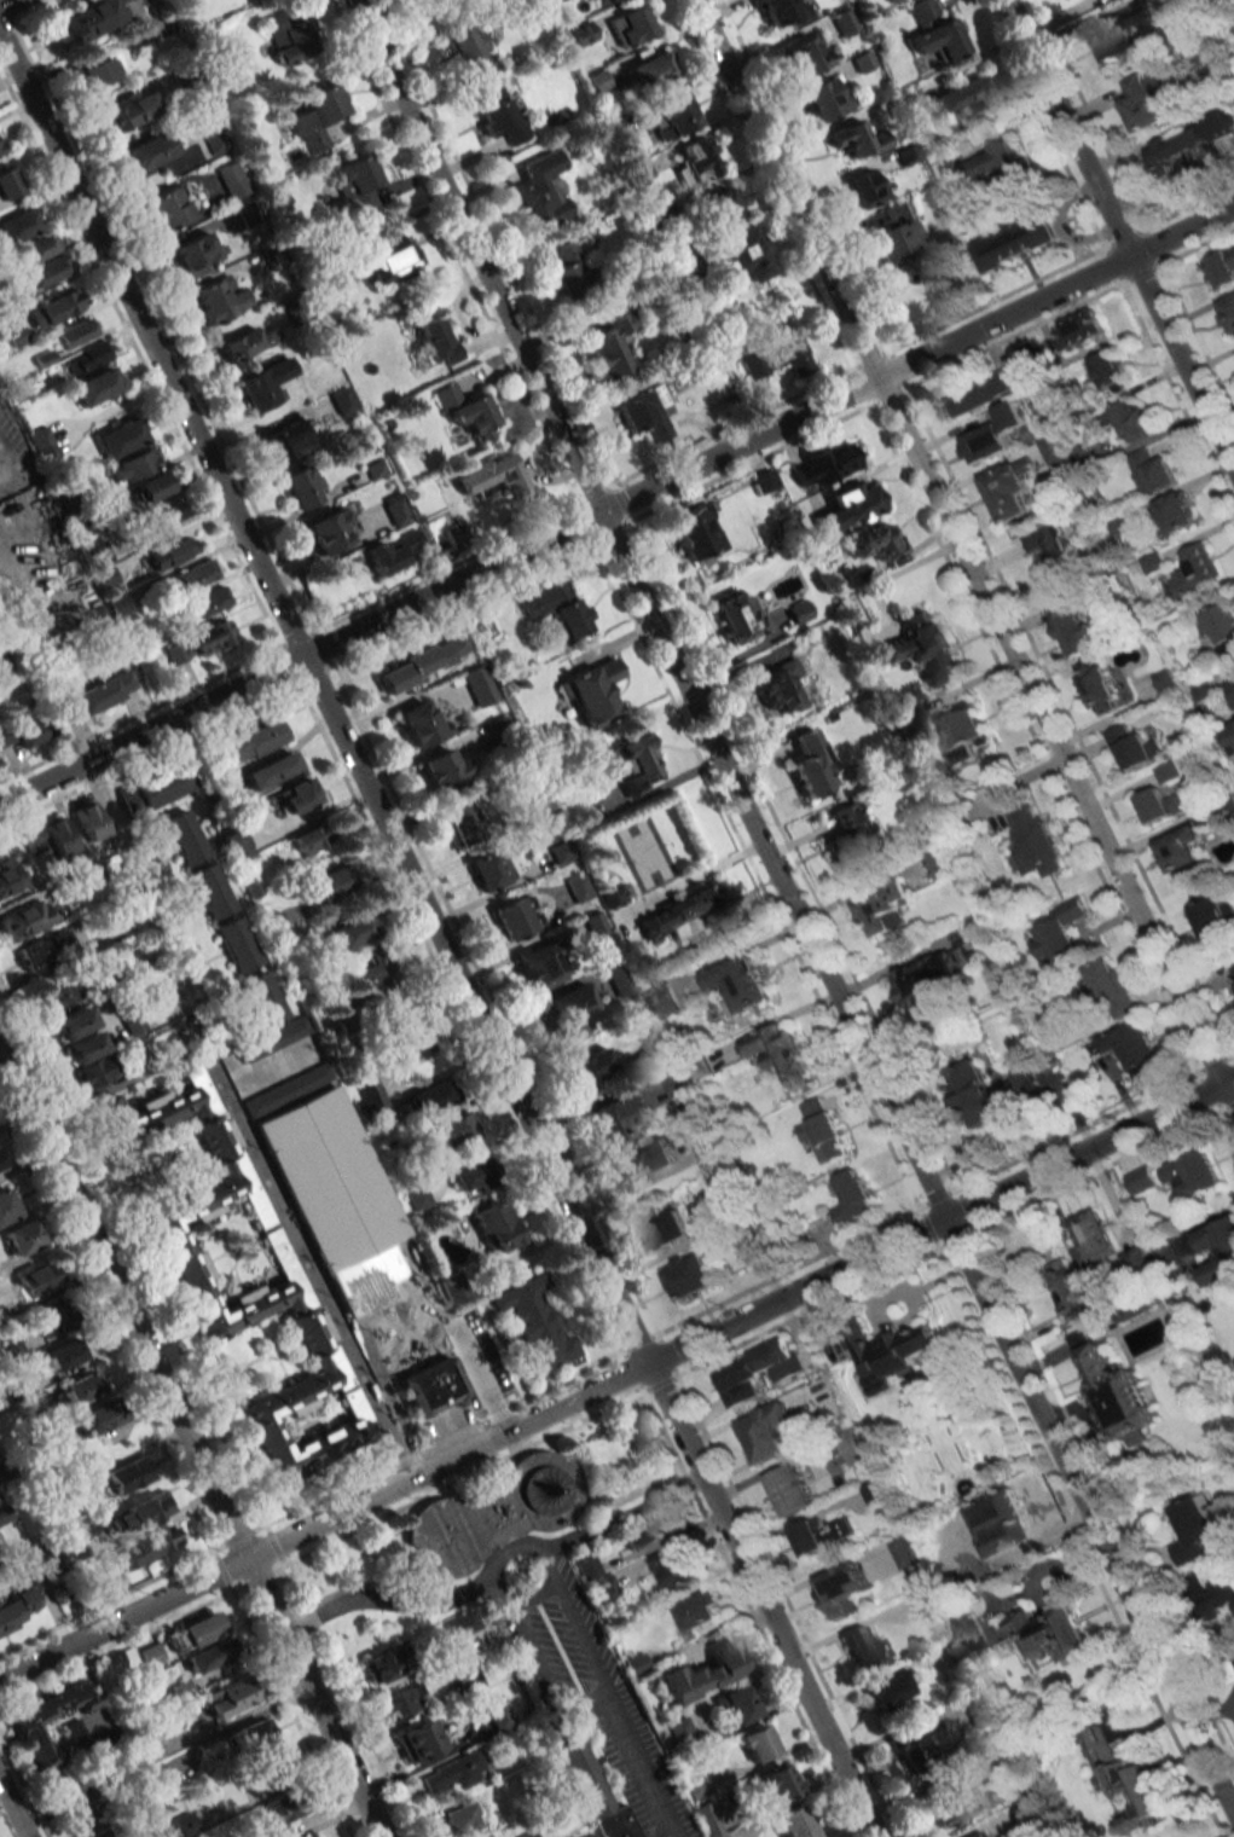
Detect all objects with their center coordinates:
building: (603, 1)
building: (782, 12)
building: (97, 17)
building: (844, 22)
building: (630, 25)
building: (1122, 31)
building: (581, 33)
building: (933, 33)
building: (288, 37)
building: (465, 42)
building: (805, 54)
building: (648, 69)
building: (97, 73)
building: (598, 81)
building: (823, 98)
building: (964, 98)
building: (1147, 100)
building: (129, 111)
building: (499, 116)
building: (674, 116)
building: (317, 117)
building: (213, 135)
building: (858, 139)
building: (1177, 147)
building: (0, 150)
building: (146, 151)
building: (905, 155)
building: (696, 161)
building: (996, 163)
building: (232, 180)
building: (7, 181)
building: (359, 185)
building: (865, 187)
building: (540, 189)
road: (36, 199)
building: (723, 205)
building: (166, 208)
building: (248, 211)
road: (1119, 236)
building: (894, 238)
building: (1016, 239)
building: (39, 248)
building: (196, 254)
building: (742, 254)
building: (271, 257)
building: (381, 261)
building: (569, 268)
building: (1221, 268)
building: (44, 273)
building: (220, 297)
building: (60, 303)
building: (296, 311)
building: (1228, 312)
building: (1079, 330)
building: (76, 334)
building: (436, 340)
building: (247, 344)
building: (610, 348)
building: (781, 352)
building: (87, 358)
building: (1107, 371)
building: (263, 384)
building: (95, 386)
building: (983, 390)
building: (341, 400)
building: (467, 412)
building: (647, 415)
building: (1130, 421)
building: (992, 435)
building: (121, 437)
building: (288, 440)
building: (42, 444)
building: (1053, 450)
building: (1084, 456)
building: (134, 465)
building: (824, 465)
building: (1152, 471)
building: (496, 475)
building: (764, 481)
building: (302, 486)
building: (152, 487)
building: (1009, 488)
road: (616, 504)
building: (848, 506)
building: (395, 509)
building: (166, 511)
building: (1176, 511)
building: (330, 531)
road: (37, 532)
building: (693, 532)
road: (956, 541)
building: (876, 543)
building: (1049, 549)
building: (172, 551)
building: (392, 552)
building: (97, 554)
building: (1195, 568)
building: (193, 576)
building: (210, 601)
building: (556, 607)
building: (799, 612)
building: (738, 619)
building: (1072, 627)
building: (1221, 627)
building: (210, 637)
building: (923, 648)
building: (176, 651)
building: (421, 663)
building: (1165, 680)
building: (479, 685)
building: (777, 686)
building: (1097, 686)
building: (1232, 686)
building: (592, 693)
building: (95, 696)
building: (421, 724)
building: (498, 728)
building: (963, 731)
building: (23, 732)
building: (1230, 741)
building: (247, 742)
building: (1132, 747)
building: (632, 764)
building: (812, 764)
building: (271, 770)
building: (444, 770)
building: (1168, 771)
building: (162, 787)
building: (296, 795)
building: (1160, 805)
building: (88, 819)
building: (462, 822)
building: (58, 835)
building: (184, 838)
building: (31, 839)
building: (312, 839)
building: (1036, 839)
building: (233, 844)
building: (850, 844)
building: (1181, 848)
building: (938, 864)
building: (488, 869)
building: (10, 876)
building: (329, 883)
building: (579, 887)
building: (210, 891)
building: (618, 894)
road: (793, 908)
building: (882, 908)
building: (690, 914)
building: (1215, 916)
building: (27, 917)
road: (157, 918)
building: (512, 918)
building: (276, 920)
building: (595, 923)
building: (350, 932)
building: (1062, 933)
road: (438, 934)
building: (237, 945)
building: (45, 949)
building: (539, 966)
building: (377, 968)
building: (1230, 973)
building: (619, 978)
building: (740, 983)
building: (932, 983)
building: (1111, 987)
building: (58, 993)
building: (262, 998)
building: (664, 999)
building: (567, 1006)
building: (132, 1020)
building: (74, 1024)
building: (274, 1038)
building: (1139, 1045)
building: (85, 1048)
building: (407, 1048)
building: (780, 1054)
building: (587, 1065)
building: (92, 1072)
building: (203, 1091)
building: (991, 1094)
building: (371, 1095)
road: (1227, 1095)
building: (430, 1097)
building: (618, 1117)
building: (447, 1132)
building: (822, 1132)
building: (697, 1138)
building: (1, 1160)
building: (363, 1161)
building: (643, 1163)
building: (469, 1172)
building: (1192, 1175)
building: (1140, 1180)
building: (250, 1192)
road: (332, 1193)
building: (853, 1198)
building: (384, 1201)
road: (359, 1204)
building: (6, 1207)
building: (498, 1227)
building: (662, 1228)
building: (314, 1233)
building: (24, 1236)
road: (359, 1238)
building: (1091, 1239)
building: (1165, 1251)
building: (1219, 1253)
road: (394, 1264)
building: (289, 1269)
building: (689, 1276)
building: (37, 1279)
road: (357, 1282)
building: (193, 1285)
building: (453, 1287)
building: (1068, 1290)
road: (392, 1310)
building: (534, 1326)
building: (885, 1352)
building: (60, 1355)
road: (468, 1356)
building: (336, 1368)
building: (755, 1372)
road: (616, 1375)
building: (425, 1377)
building: (76, 1389)
building: (1114, 1391)
road: (389, 1396)
building: (355, 1408)
building: (100, 1416)
building: (767, 1432)
road: (191, 1444)
building: (853, 1450)
building: (129, 1474)
building: (788, 1490)
building: (147, 1508)
building: (4, 1513)
building: (493, 1516)
road: (622, 1517)
building: (1193, 1529)
building: (645, 1532)
building: (819, 1534)
building: (158, 1541)
building: (900, 1551)
building: (589, 1567)
building: (673, 1570)
road: (549, 1584)
building: (842, 1589)
building: (1219, 1593)
road: (386, 1603)
building: (17, 1607)
building: (697, 1611)
building: (1048, 1630)
building: (193, 1632)
building: (465, 1632)
building: (969, 1635)
building: (863, 1647)
building: (151, 1655)
building: (209, 1656)
building: (636, 1664)
building: (381, 1667)
building: (703, 1673)
building: (475, 1682)
building: (892, 1688)
building: (228, 1697)
road: (586, 1699)
building: (402, 1700)
building: (741, 1703)
building: (499, 1713)
building: (87, 1728)
building: (253, 1737)
building: (418, 1740)
building: (920, 1740)
building: (758, 1744)
road: (638, 1764)
building: (456, 1772)
building: (581, 1772)
building: (160, 1783)
building: (1126, 1783)
building: (778, 1784)
building: (70, 1789)
building: (945, 1801)
road: (12, 1809)
building: (279, 1813)
building: (85, 1815)
building: (1027, 1816)
building: (709, 1819)
building: (462, 1820)
building: (795, 1822)
building: (614, 1824)
building: (185, 1825)
building: (102, 1833)
road: (665, 1833)
building: (164, 1835)
building: (531, 1835)
building: (981, 1835)
building: (485, 1836)
building: (591, 1836)

